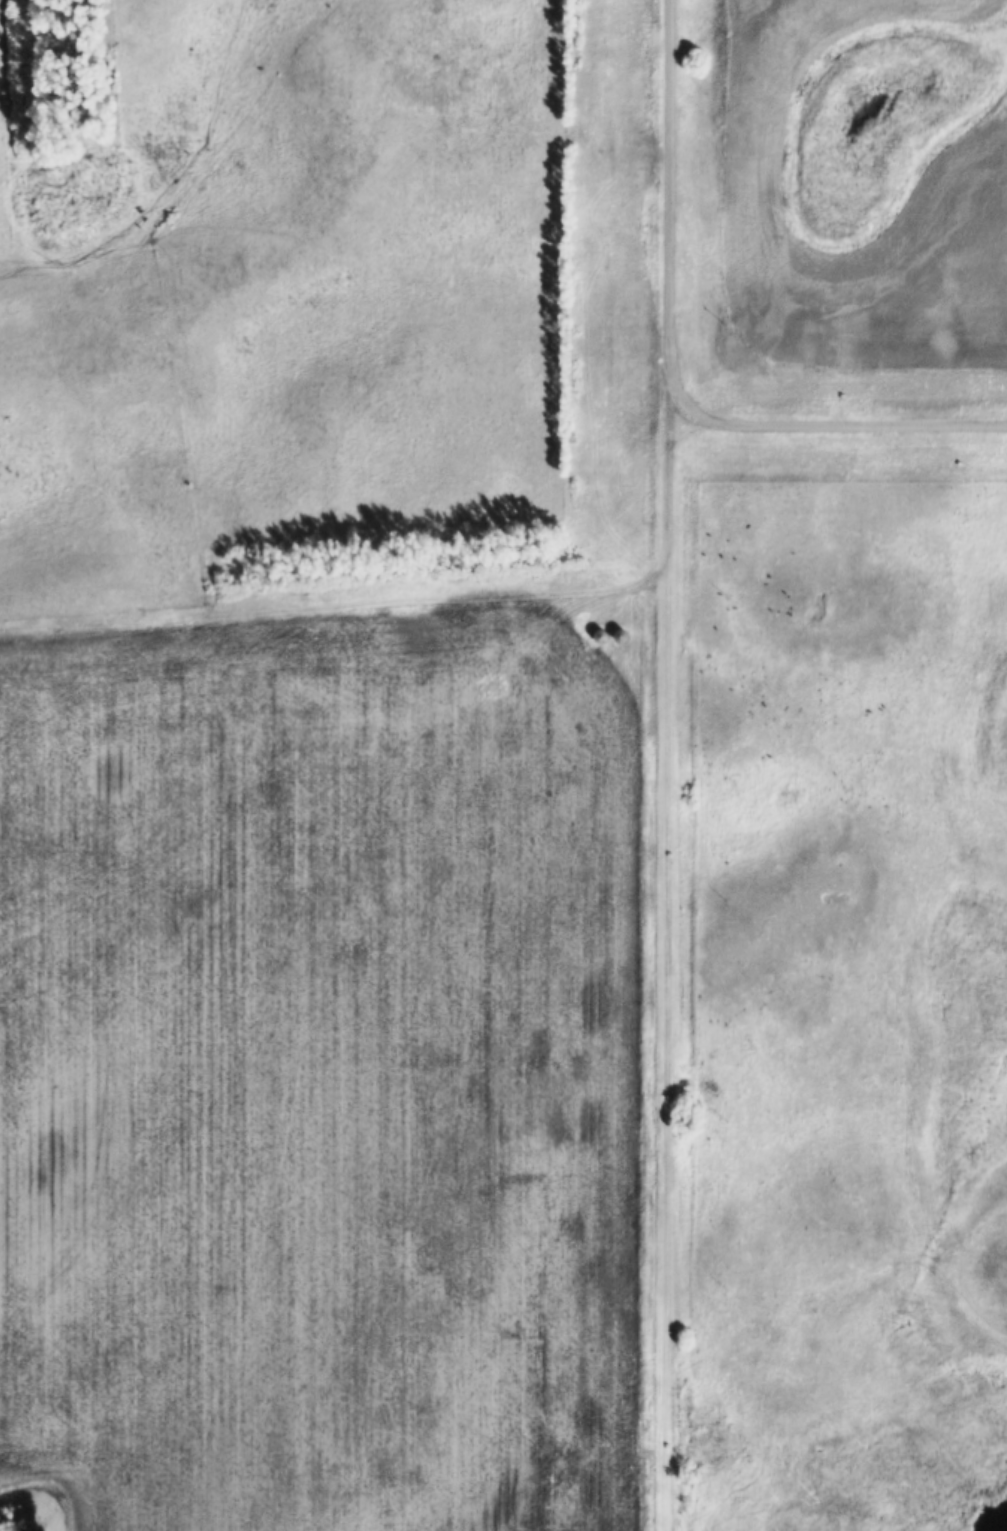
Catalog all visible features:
road: (671, 209)
road: (838, 420)
road: (337, 599)
building: (619, 632)
silo: (619, 632)
building: (599, 633)
silo: (599, 633)
road: (663, 974)

